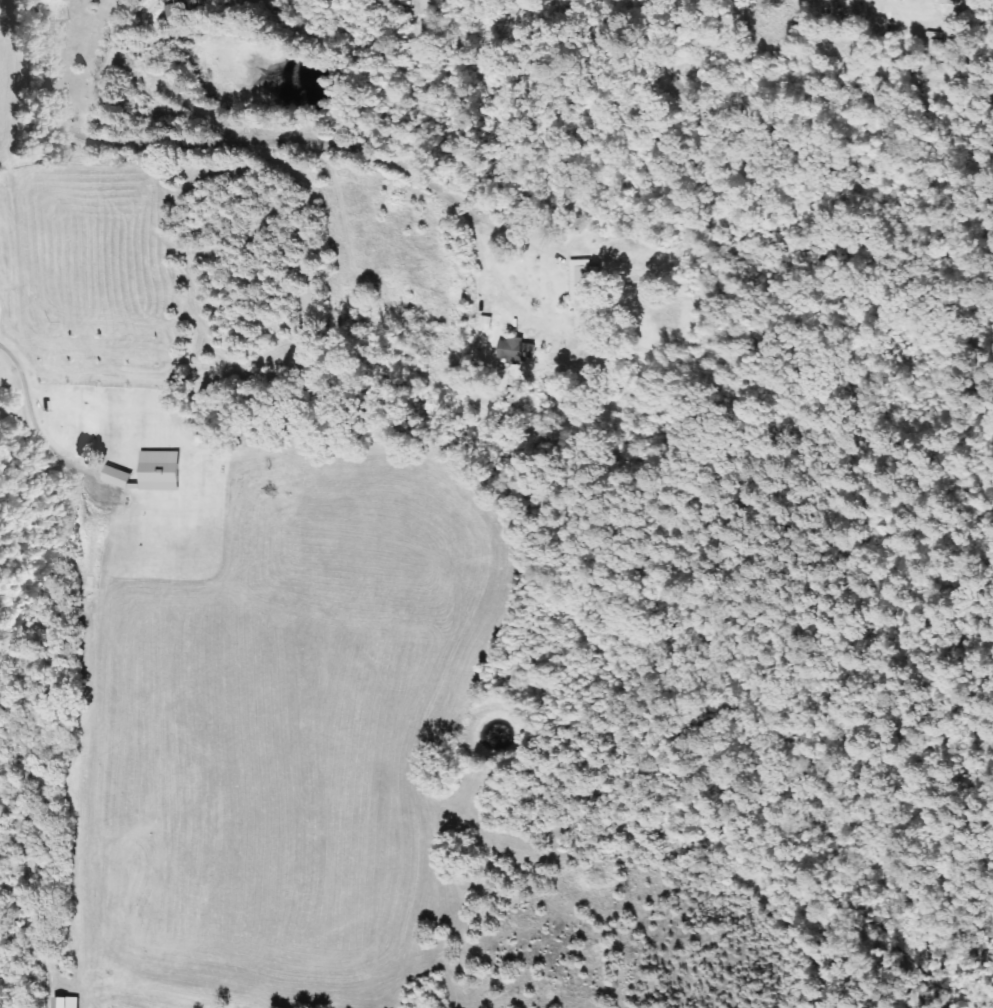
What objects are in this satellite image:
building: (940, 2)
road: (440, 52)
road: (277, 103)
building: (581, 281)
building: (484, 323)
building: (512, 351)
building: (157, 471)
building: (114, 477)
building: (63, 1003)

